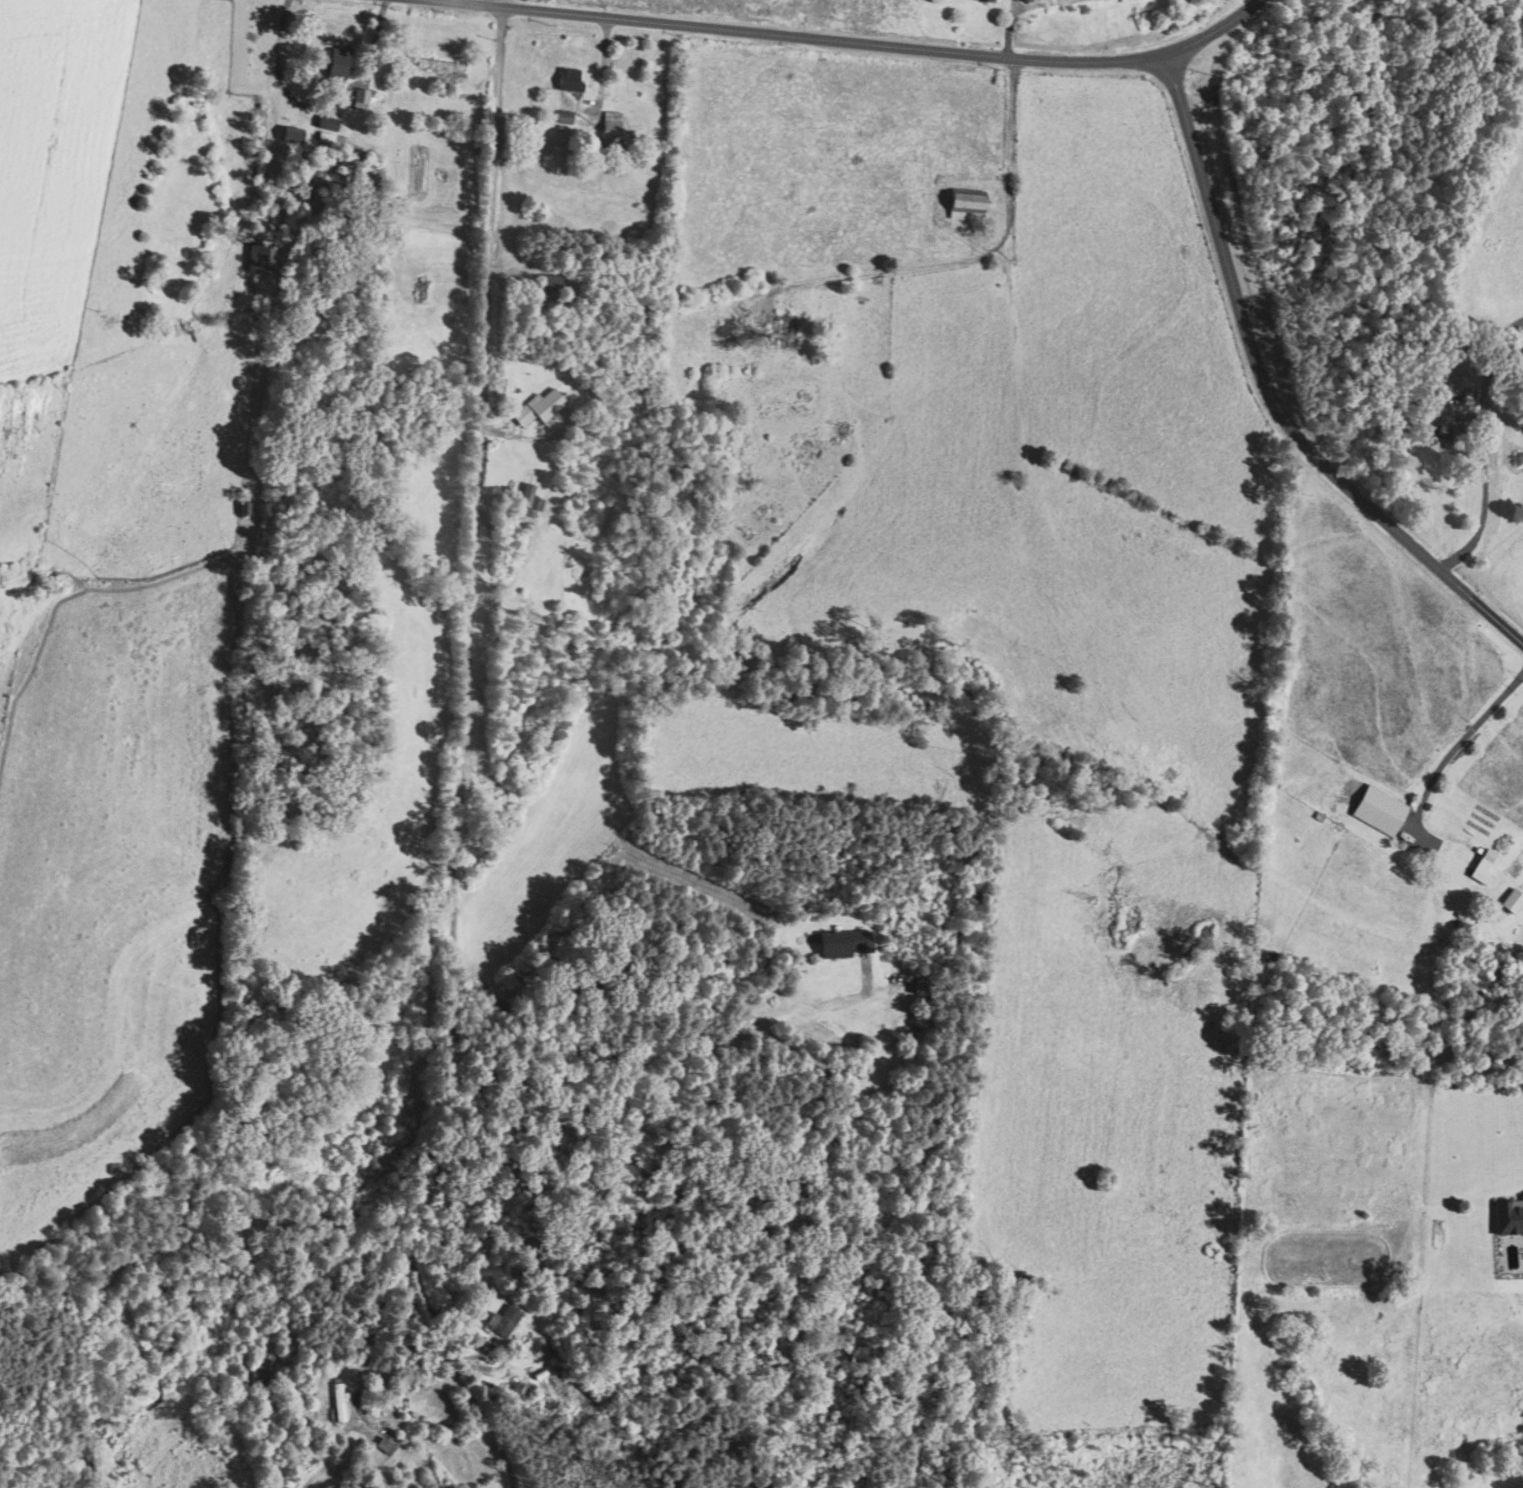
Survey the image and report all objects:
building: (983, 1)
road: (501, 3)
road: (857, 41)
road: (599, 59)
building: (336, 62)
building: (441, 66)
building: (567, 80)
building: (562, 117)
building: (608, 133)
building: (290, 136)
building: (964, 206)
road: (969, 248)
building: (260, 260)
building: (546, 287)
building: (780, 330)
road: (1266, 378)
building: (535, 409)
building: (838, 433)
building: (802, 456)
road: (1481, 513)
road: (1510, 633)
road: (466, 710)
road: (1459, 741)
building: (1377, 812)
building: (1510, 901)
building: (839, 943)
building: (916, 988)
road: (695, 1007)
road: (663, 1174)
building: (500, 1322)
road: (453, 1367)
building: (259, 1374)
building: (336, 1403)
building: (382, 1446)
building: (460, 1463)

